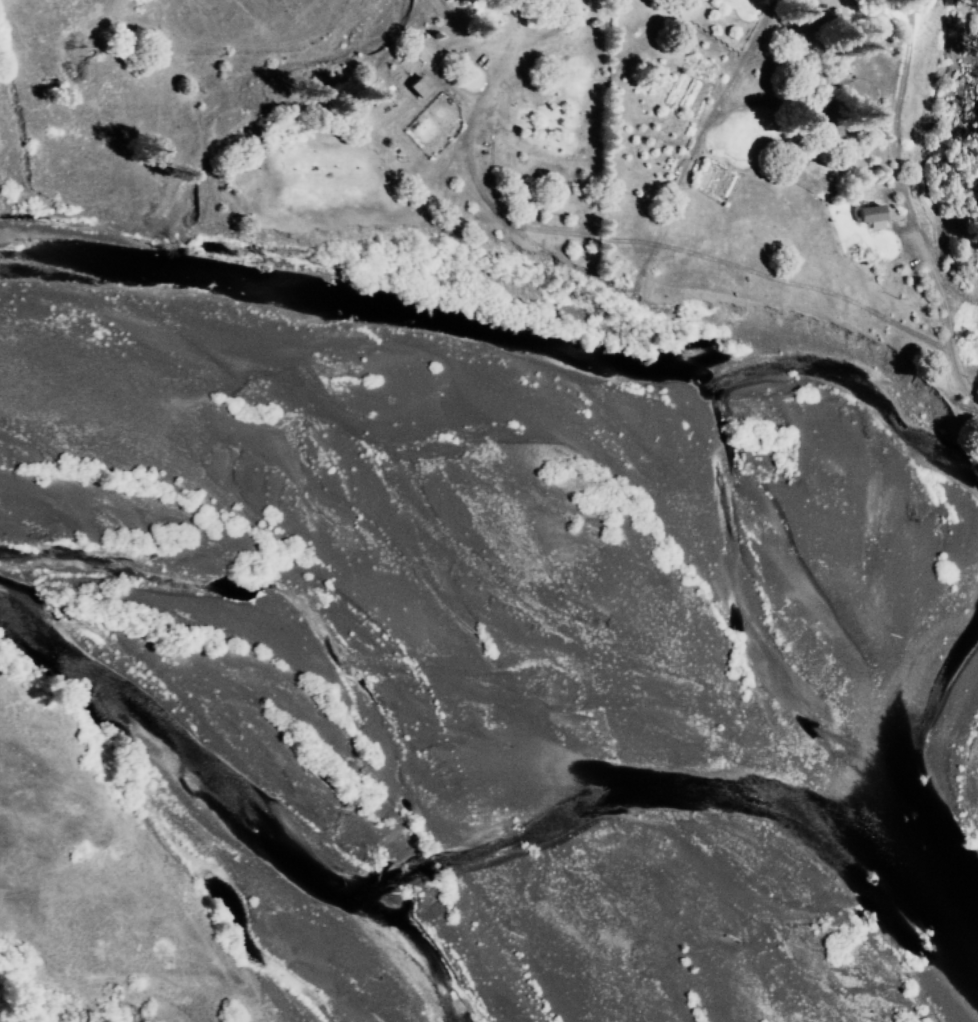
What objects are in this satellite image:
road: (912, 204)
building: (874, 216)

